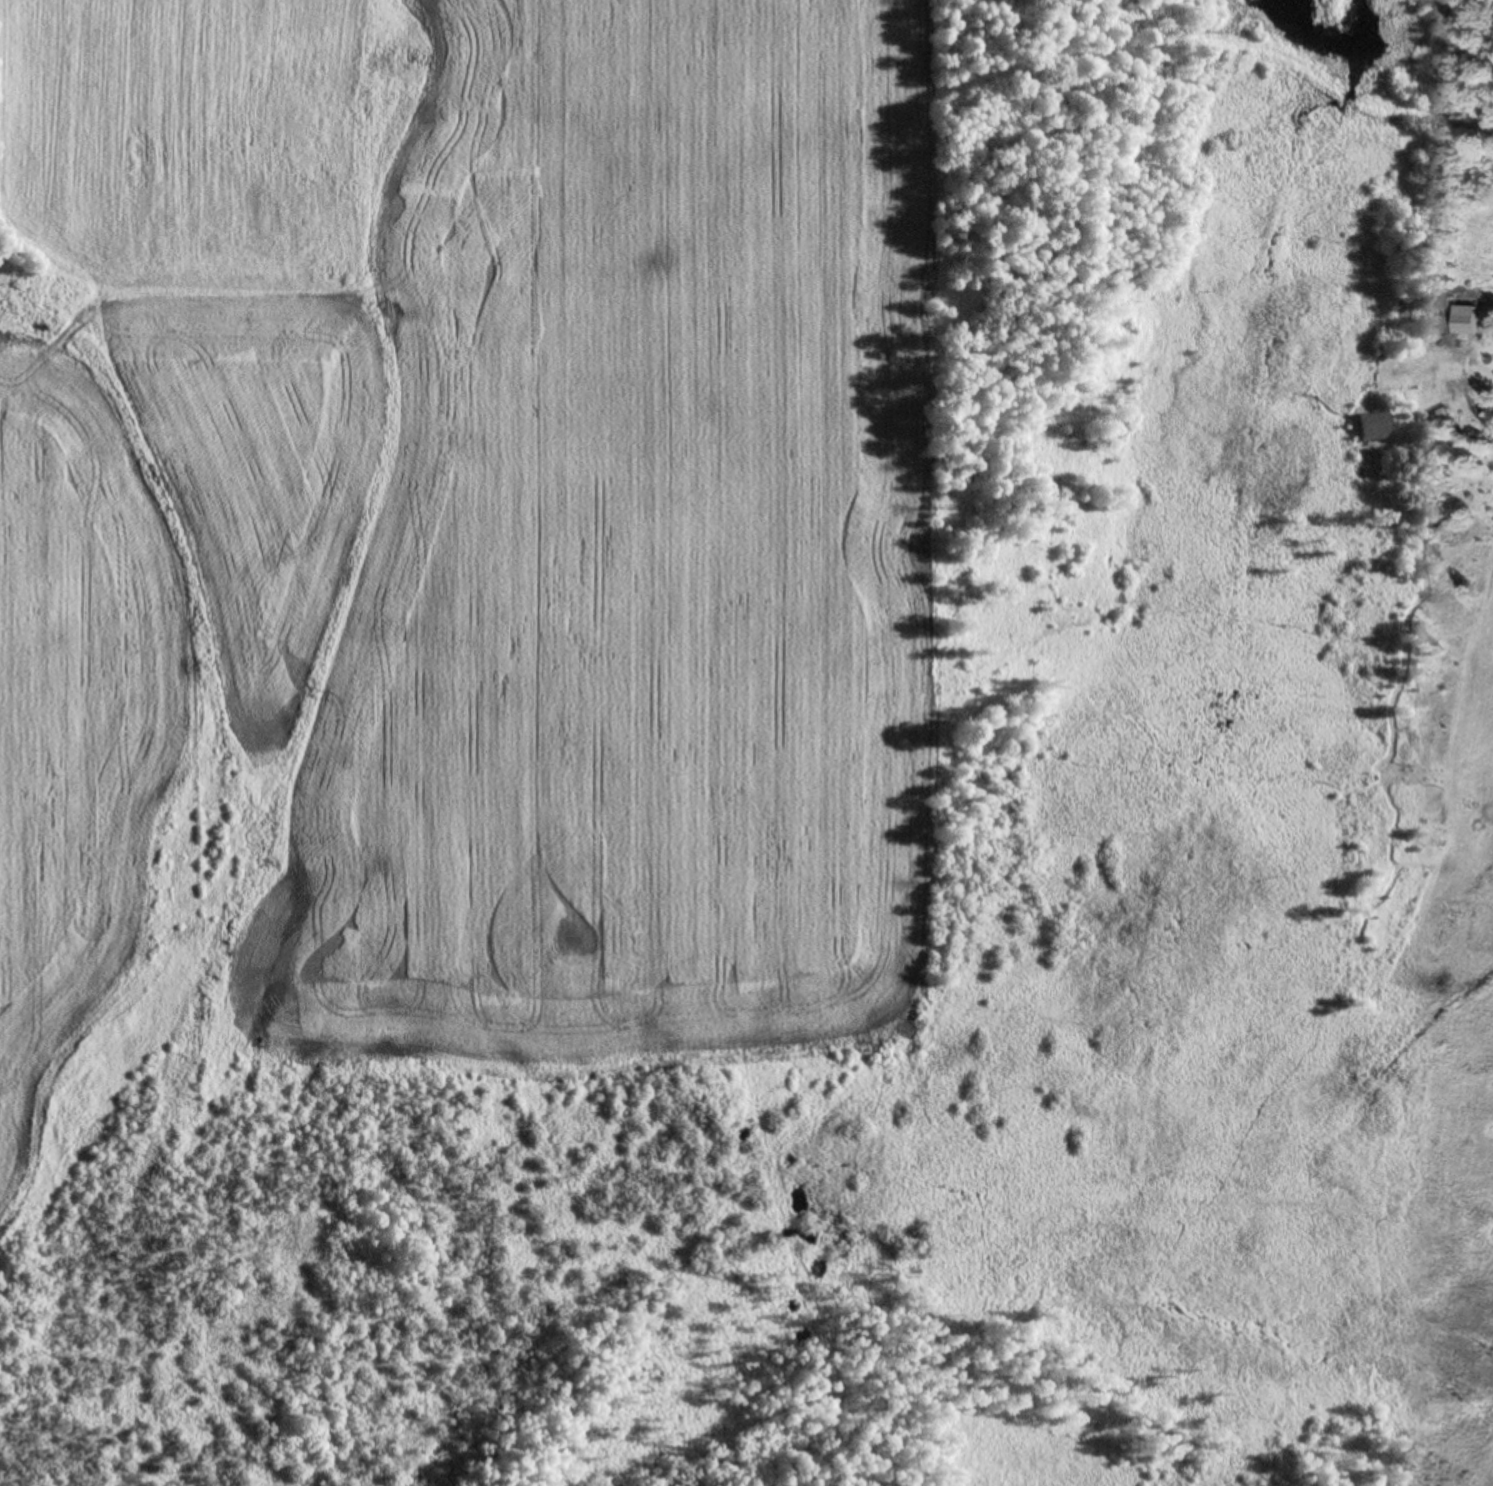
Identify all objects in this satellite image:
building: (1435, 419)
building: (1372, 429)

